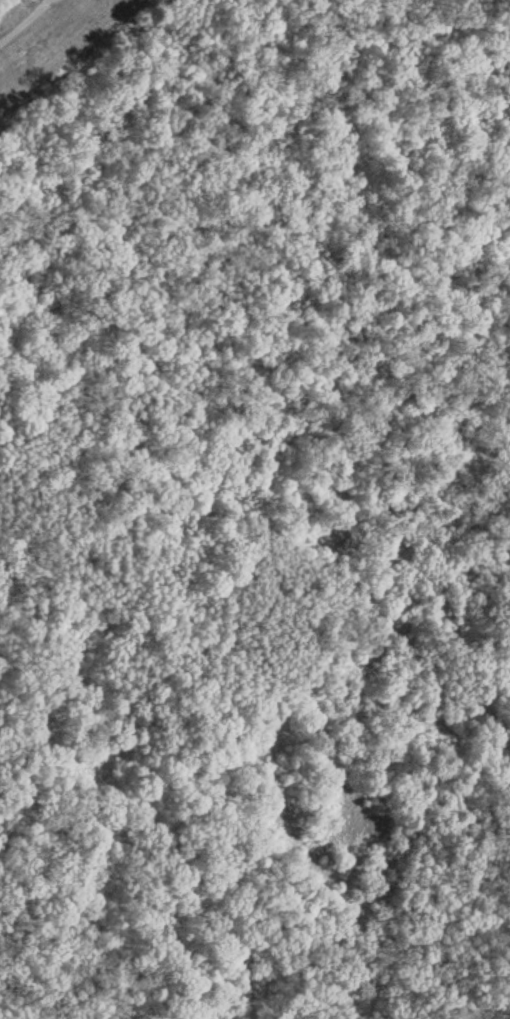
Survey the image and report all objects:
road: (13, 11)

